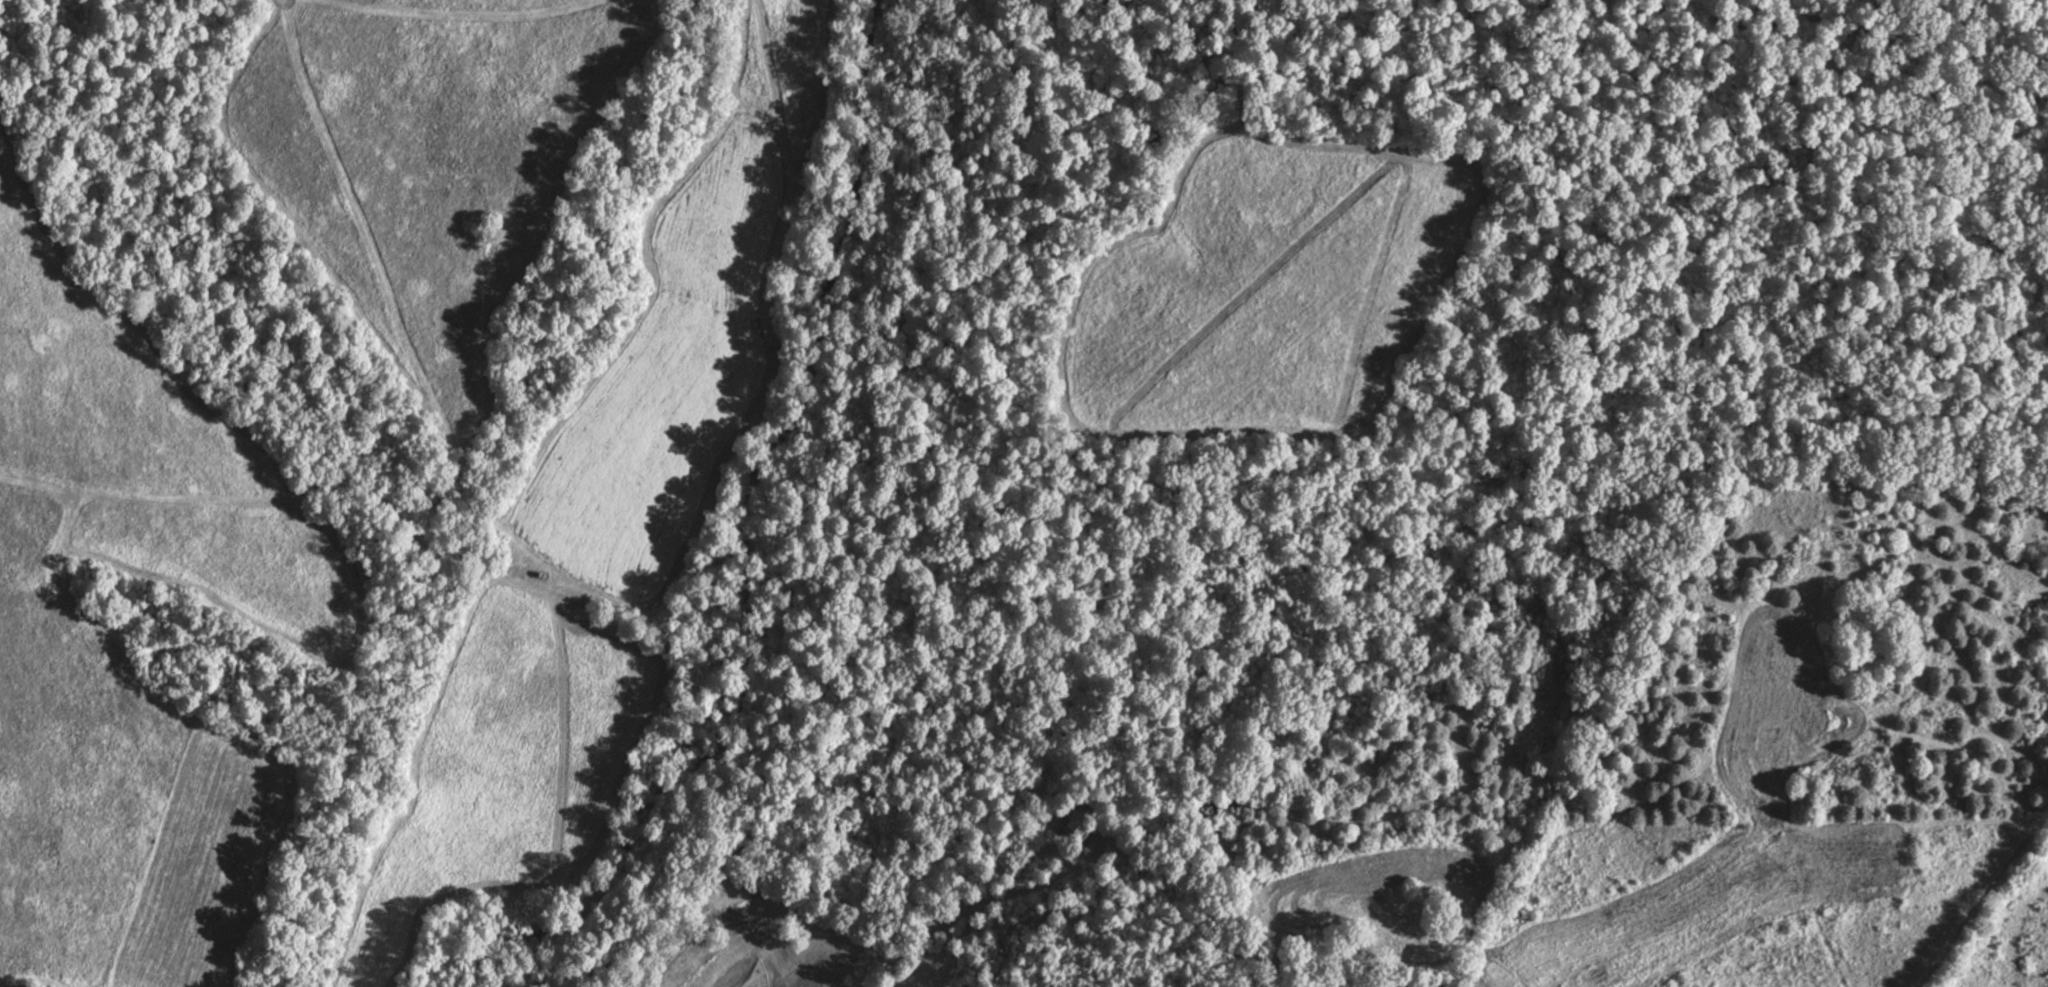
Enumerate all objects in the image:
building: (1076, 825)

